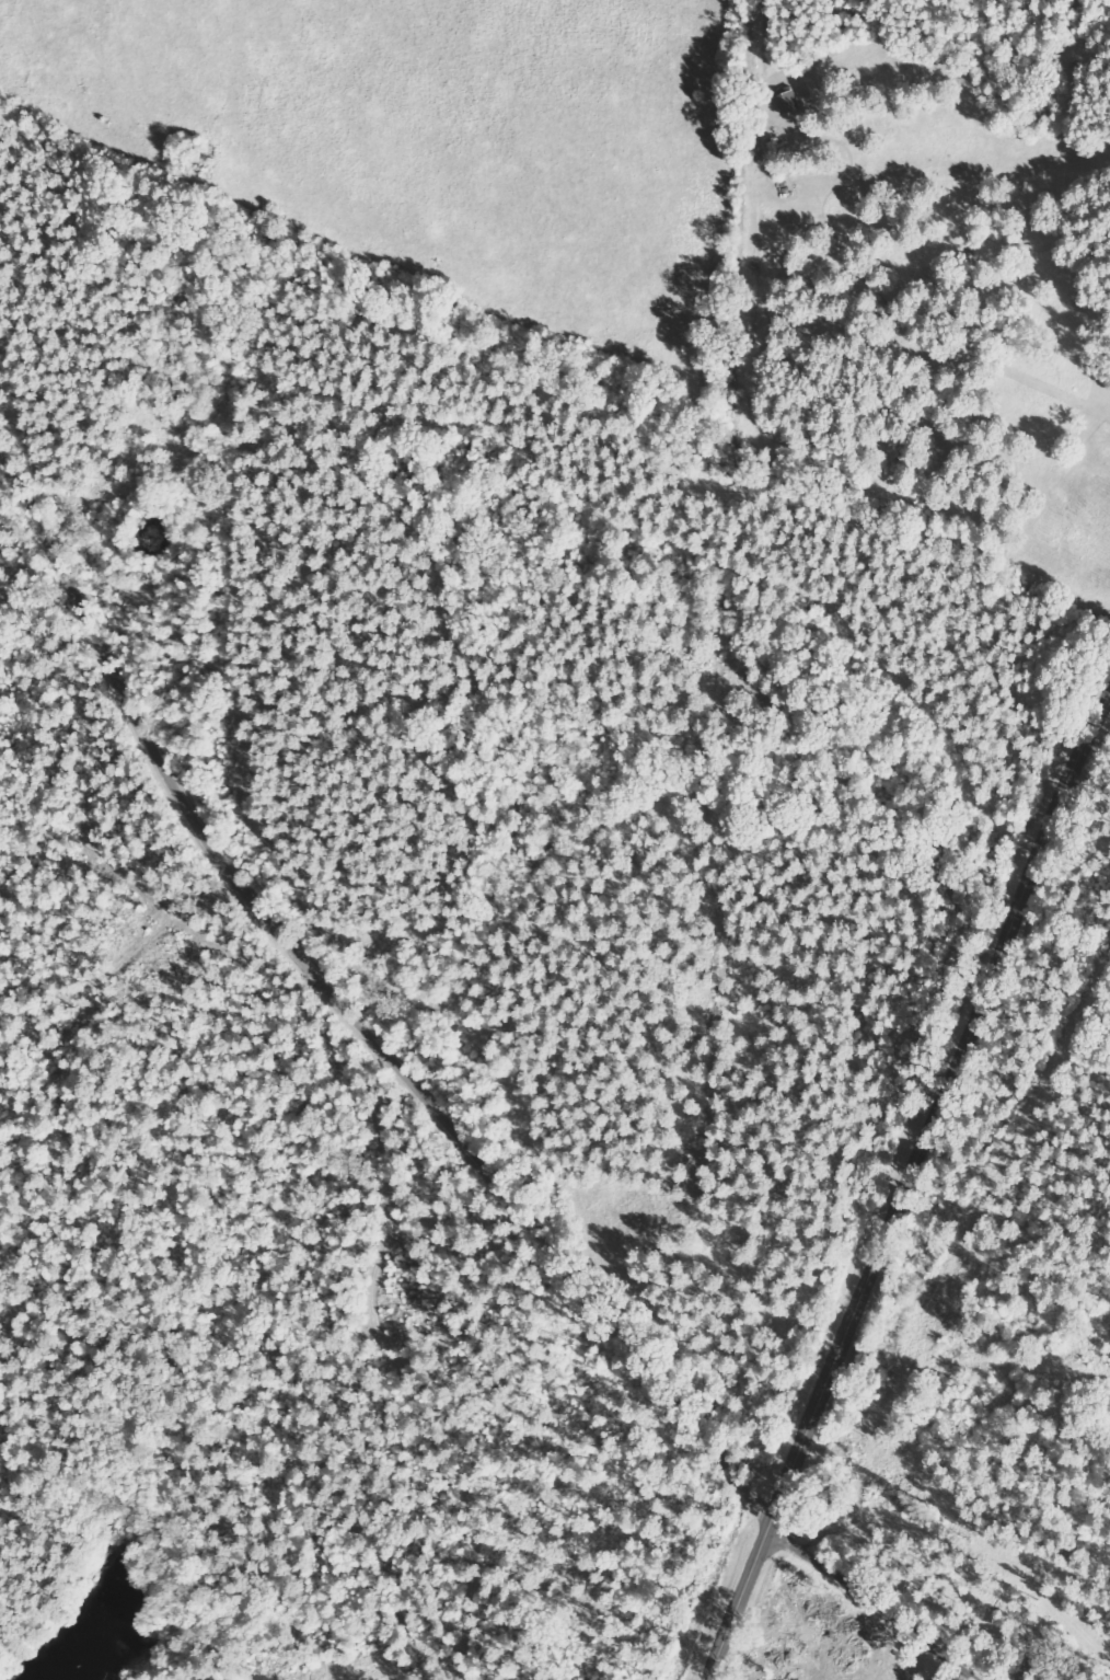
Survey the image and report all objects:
building: (791, 104)
road: (340, 1047)
road: (904, 1189)
road: (782, 1551)
road: (869, 1624)

